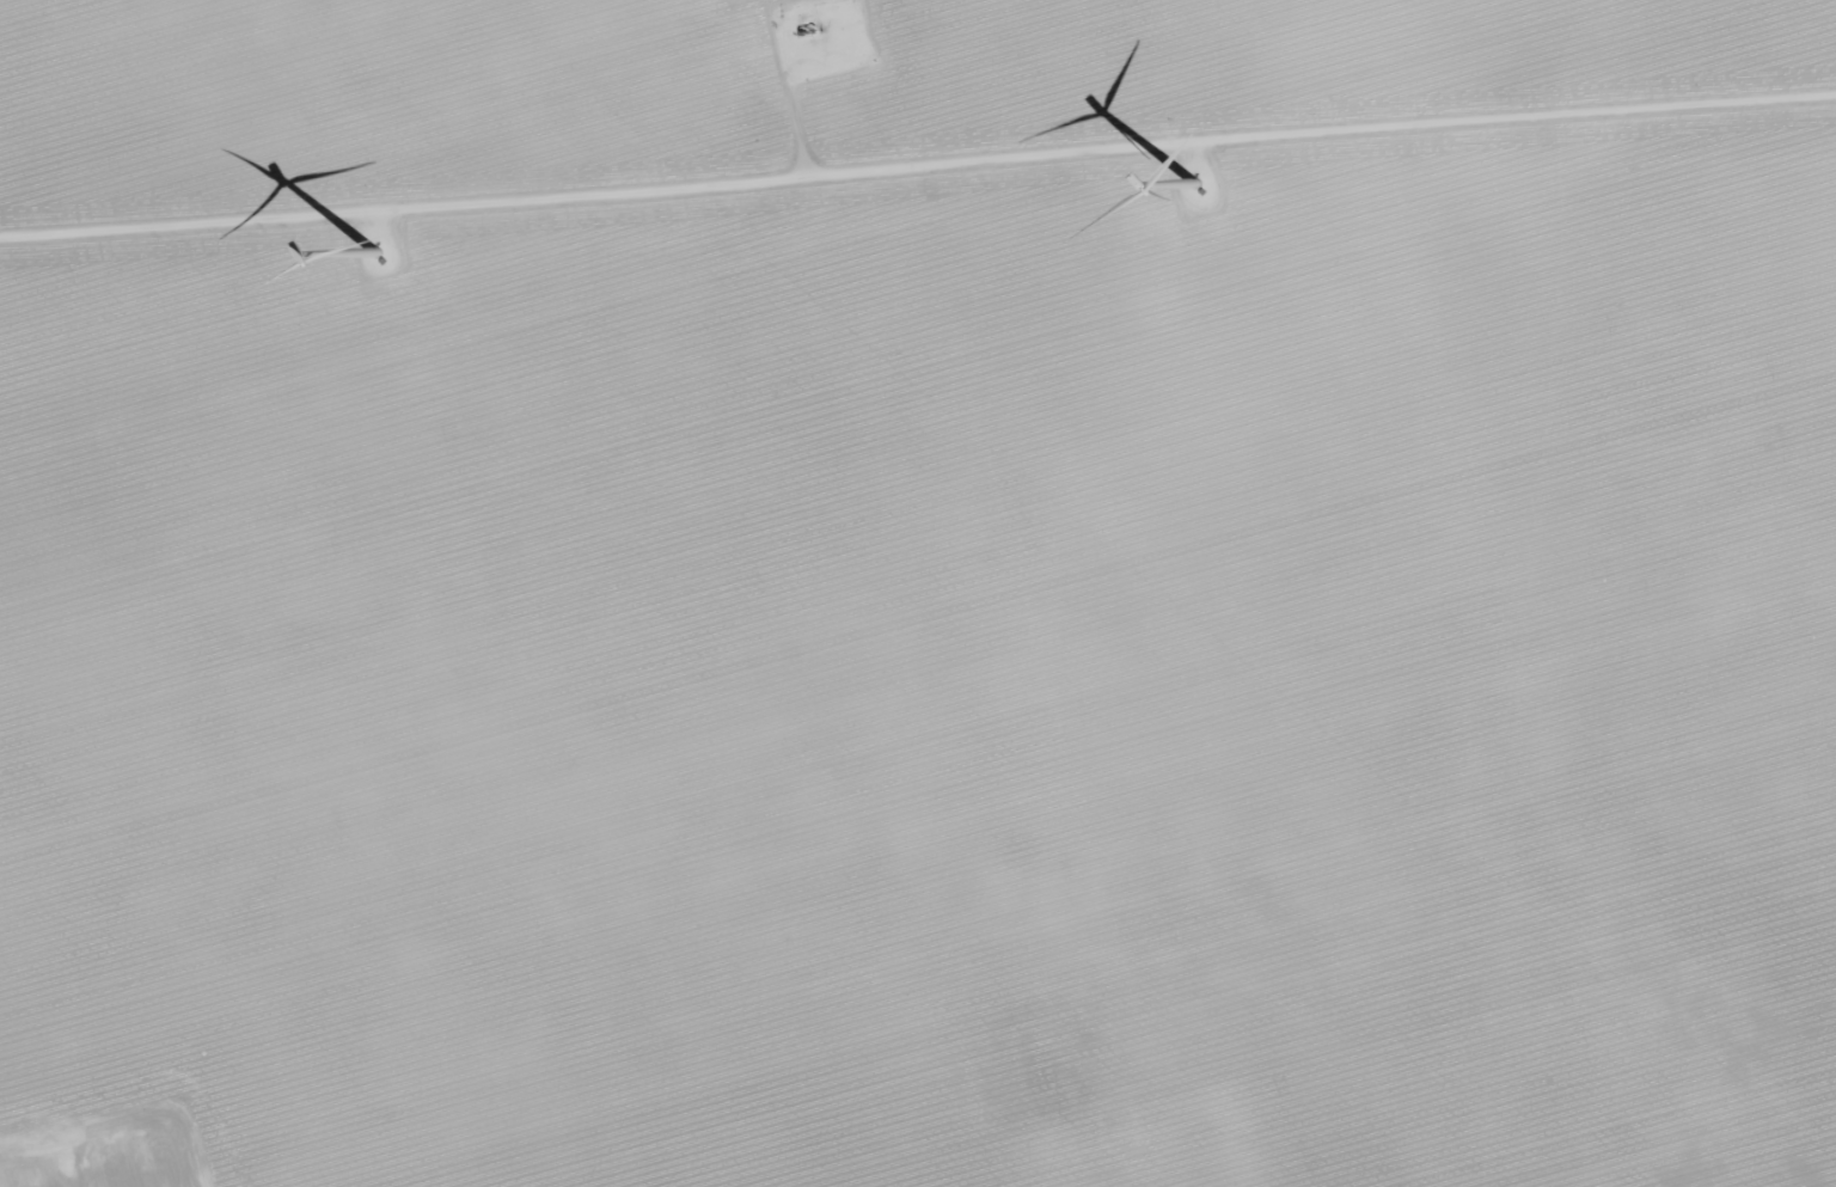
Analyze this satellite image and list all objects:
wind turbine: (1213, 183)
wind turbine: (374, 270)

